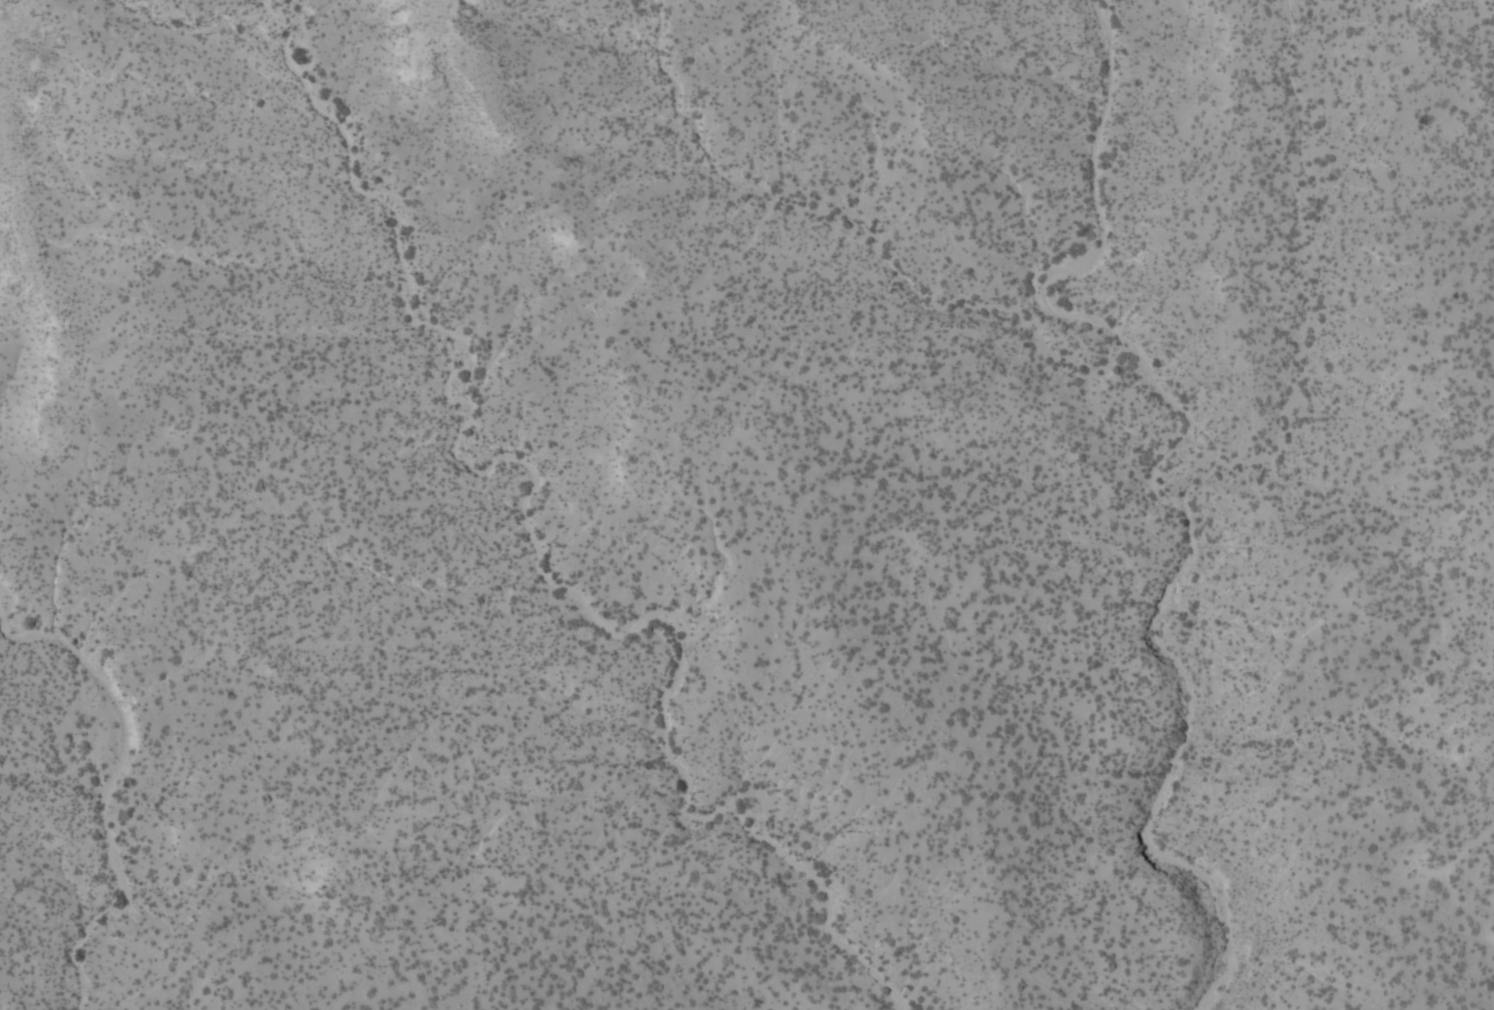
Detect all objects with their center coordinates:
road: (1347, 813)
road: (1463, 904)

